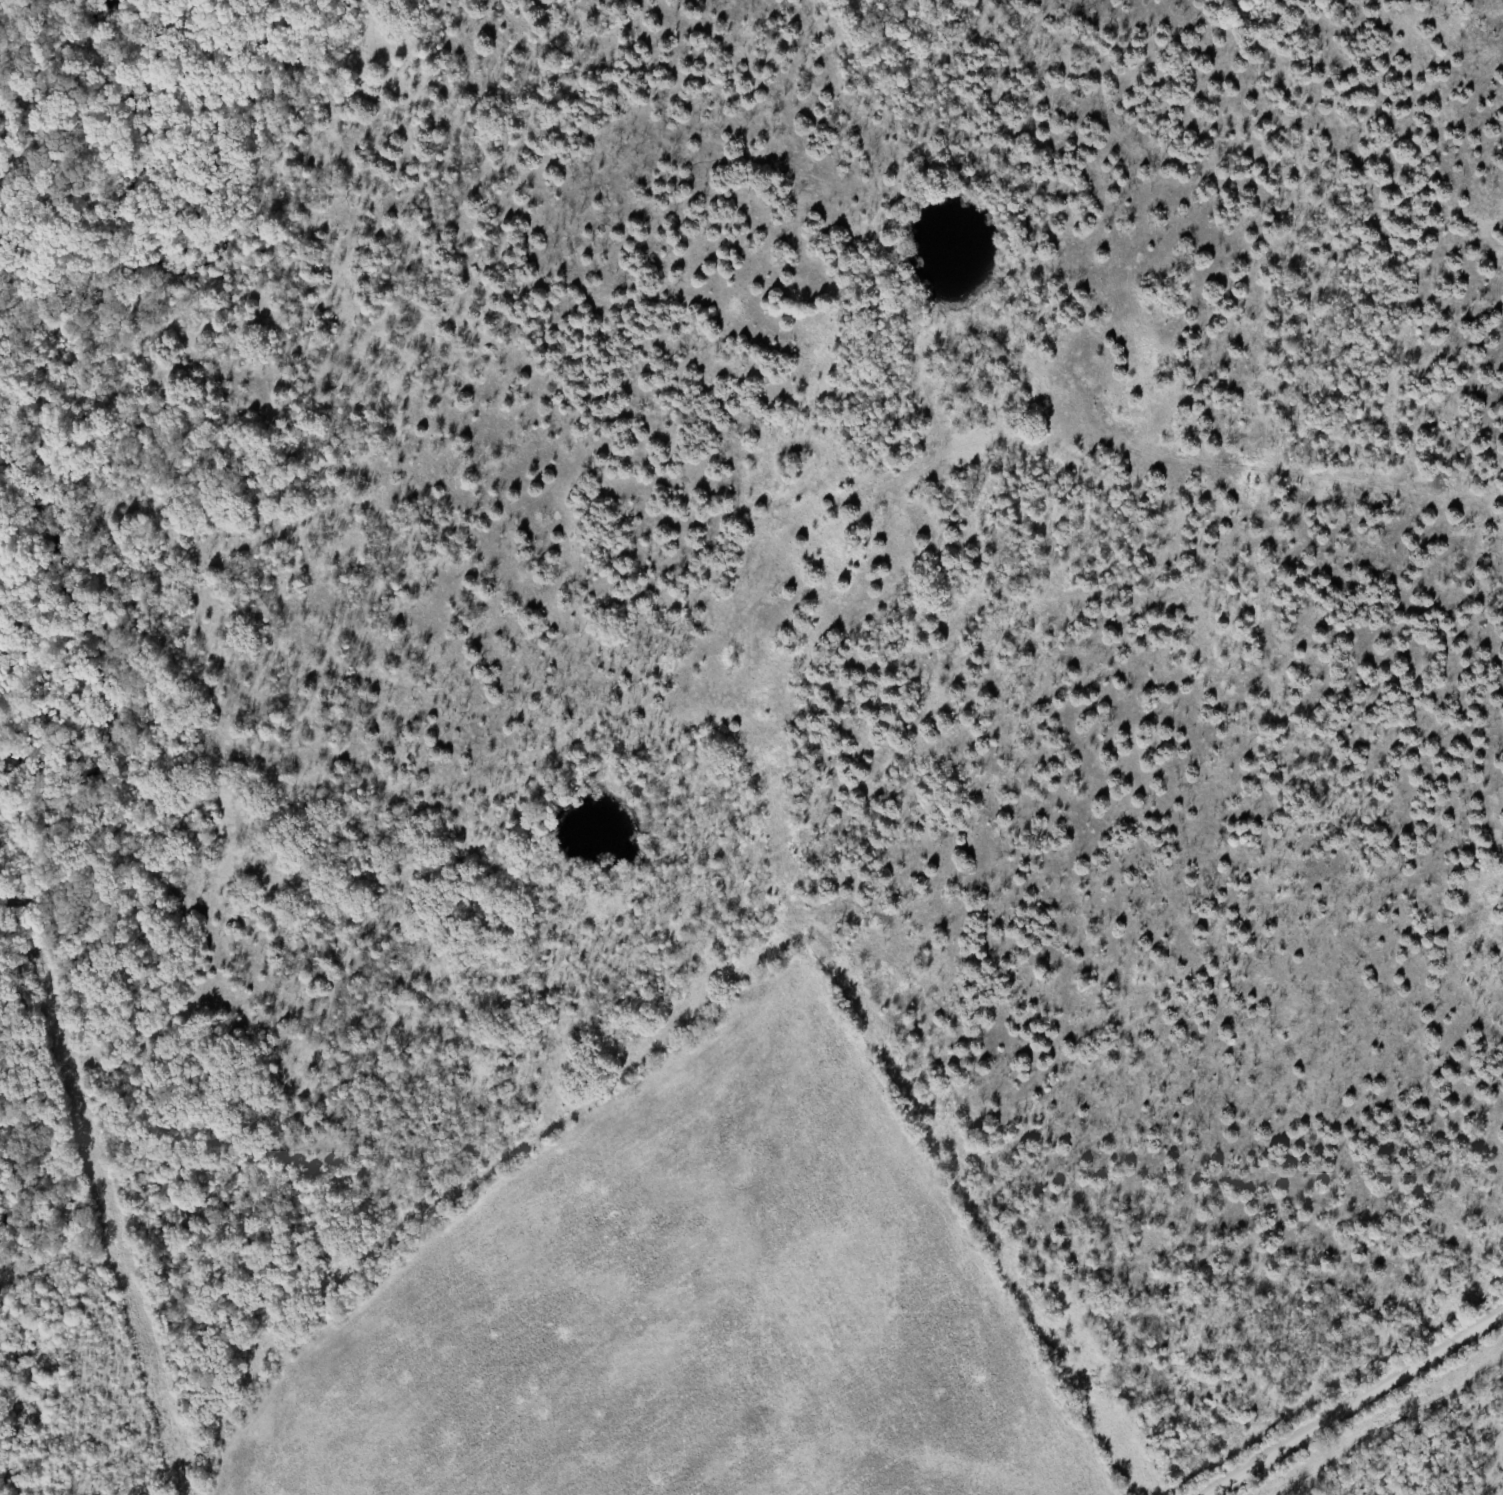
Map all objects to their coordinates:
road: (1359, 1406)

